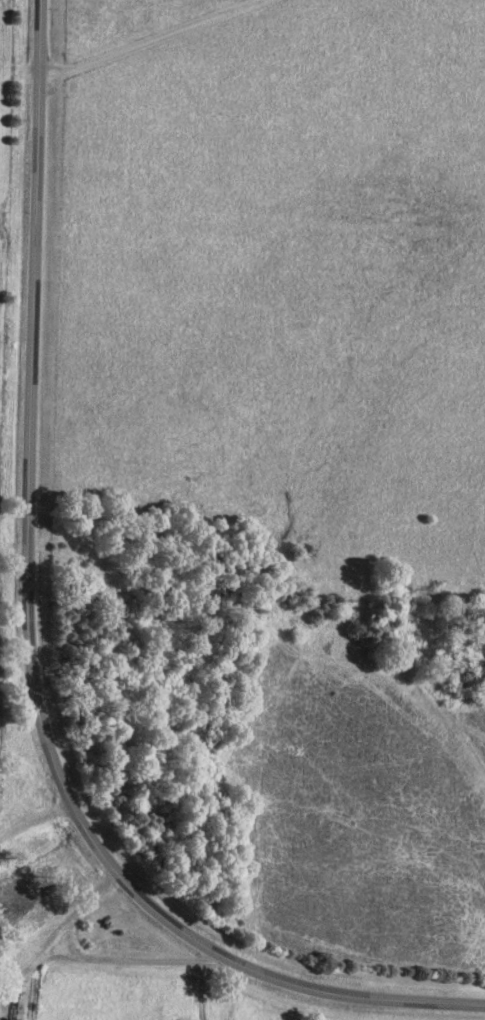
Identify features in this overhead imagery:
road: (26, 650)

